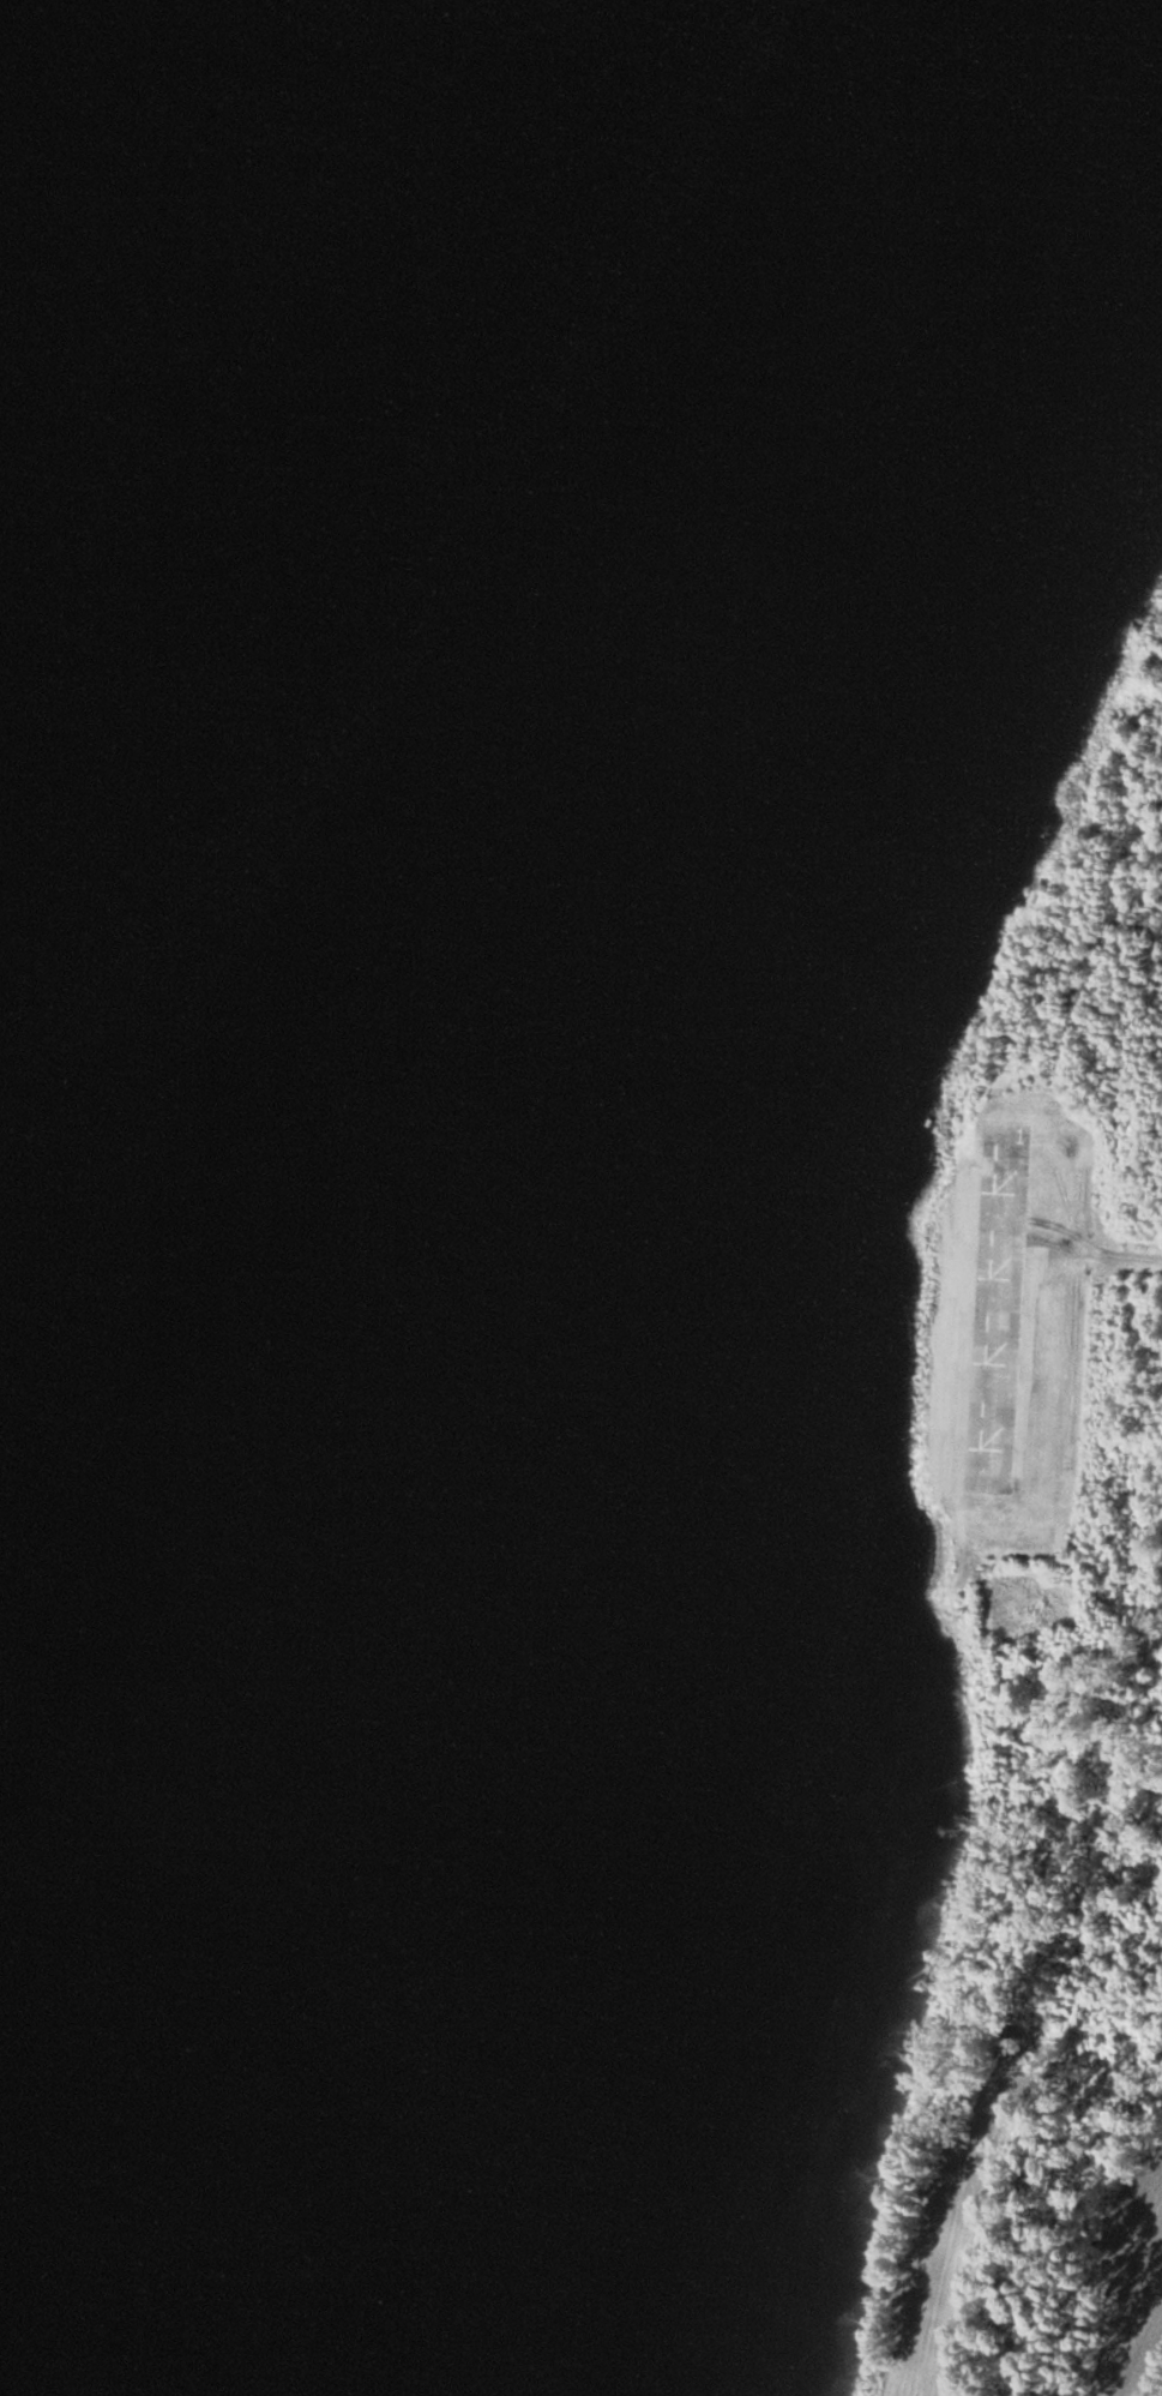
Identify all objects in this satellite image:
building: (995, 1352)

